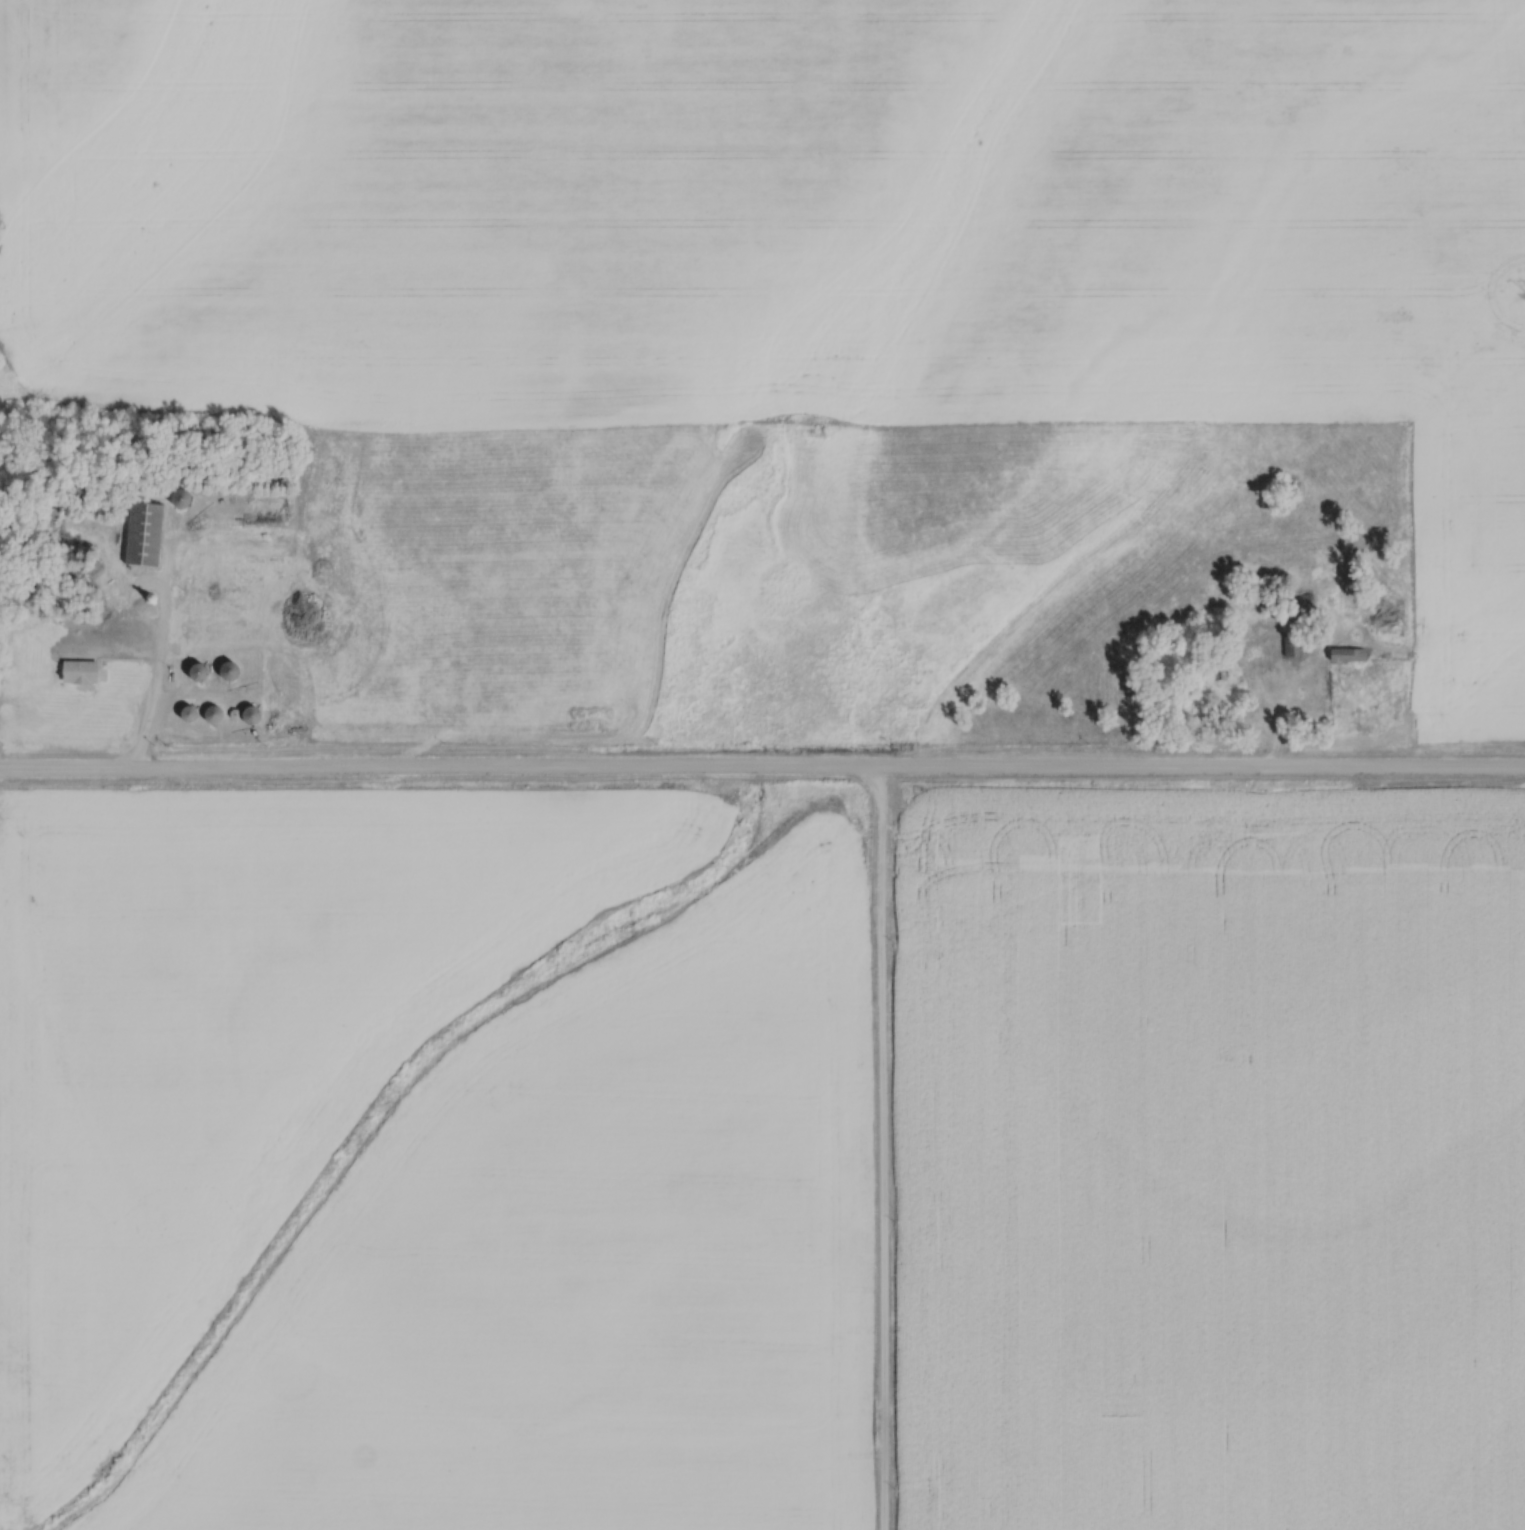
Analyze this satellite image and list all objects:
building: (178, 498)
building: (144, 534)
road: (160, 596)
building: (182, 630)
building: (1347, 654)
building: (79, 671)
building: (227, 671)
building: (196, 672)
building: (1221, 673)
building: (276, 696)
road: (146, 708)
building: (212, 715)
building: (248, 715)
road: (762, 770)
road: (879, 1152)

